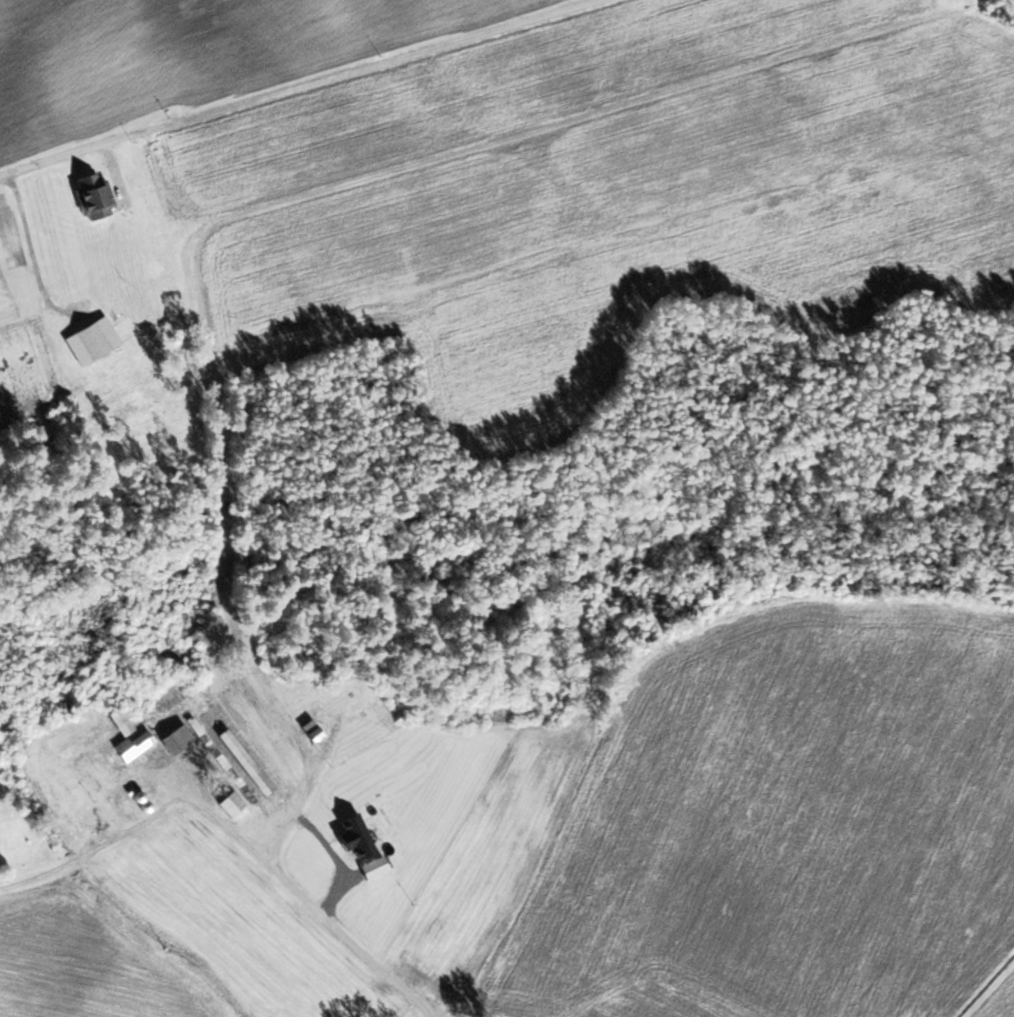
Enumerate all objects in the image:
building: (90, 196)
building: (93, 339)
building: (305, 685)
building: (118, 721)
building: (175, 739)
building: (132, 746)
building: (244, 762)
building: (229, 805)
building: (421, 983)

